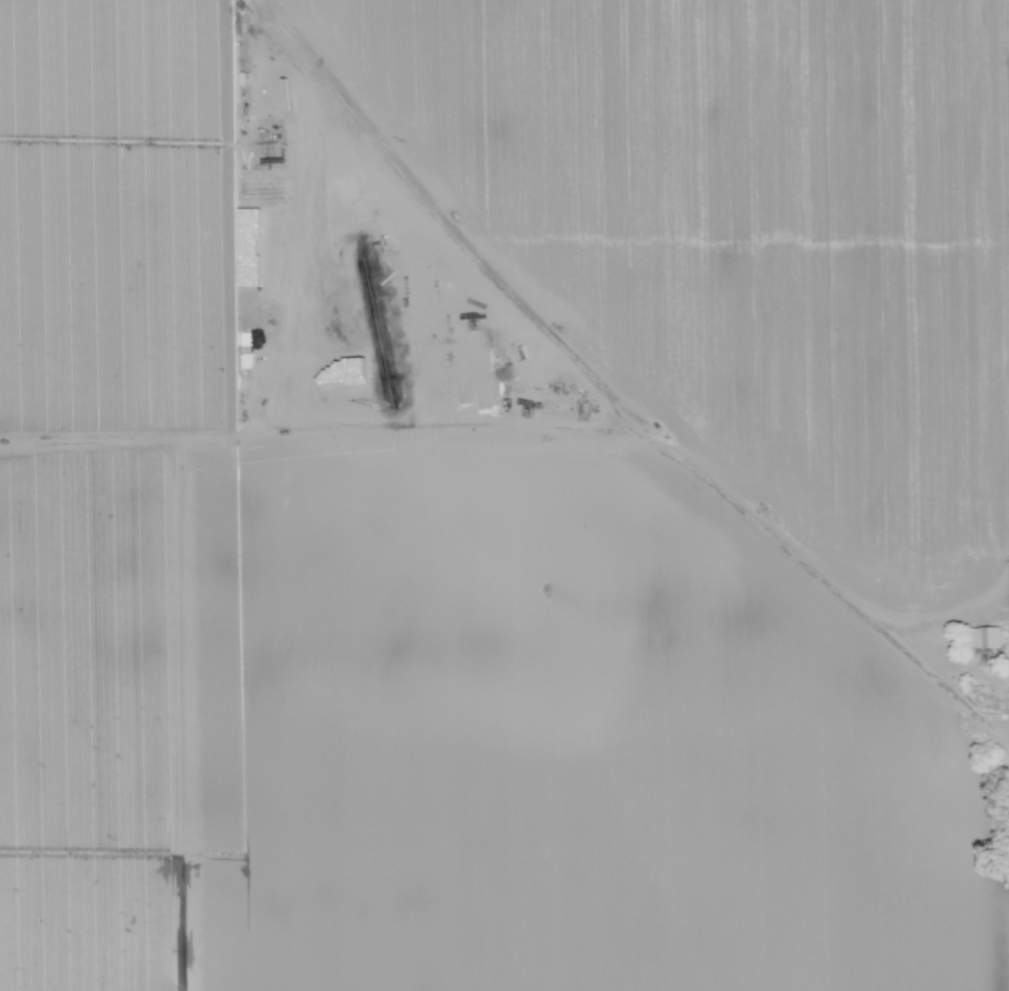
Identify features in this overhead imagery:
road: (611, 397)
building: (984, 637)

